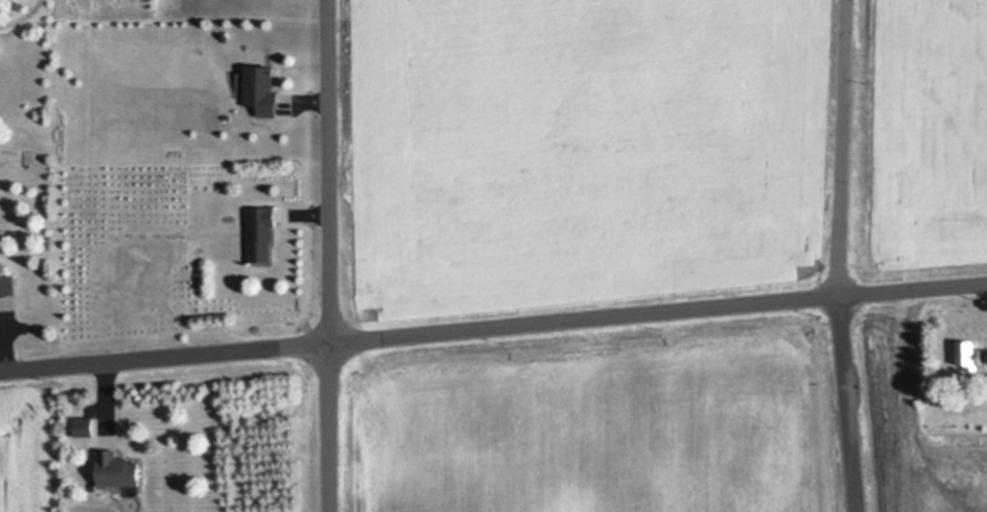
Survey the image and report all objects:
building: (264, 88)
road: (841, 147)
building: (81, 152)
building: (263, 231)
road: (330, 255)
building: (7, 282)
road: (493, 327)
building: (970, 352)
building: (972, 385)
road: (846, 403)
building: (86, 425)
building: (120, 468)

